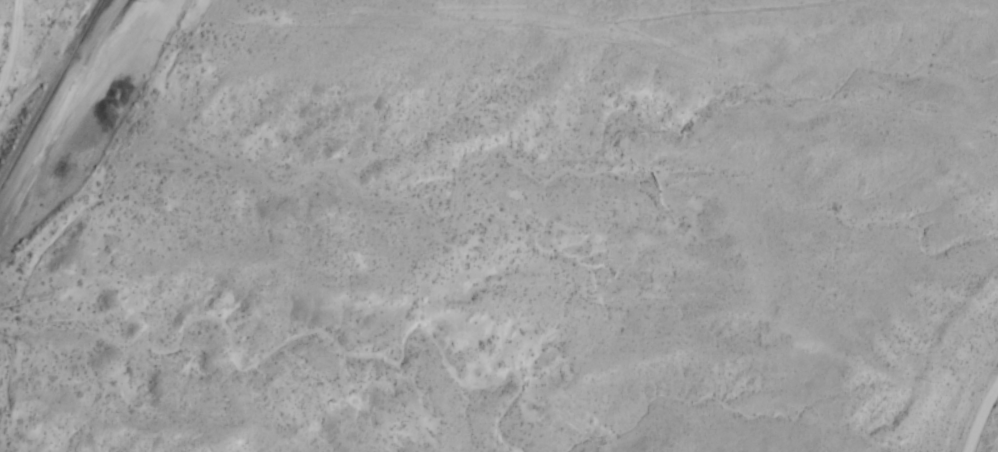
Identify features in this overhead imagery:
road: (11, 27)
road: (588, 27)
railway: (88, 29)
railway: (50, 93)
road: (982, 419)

